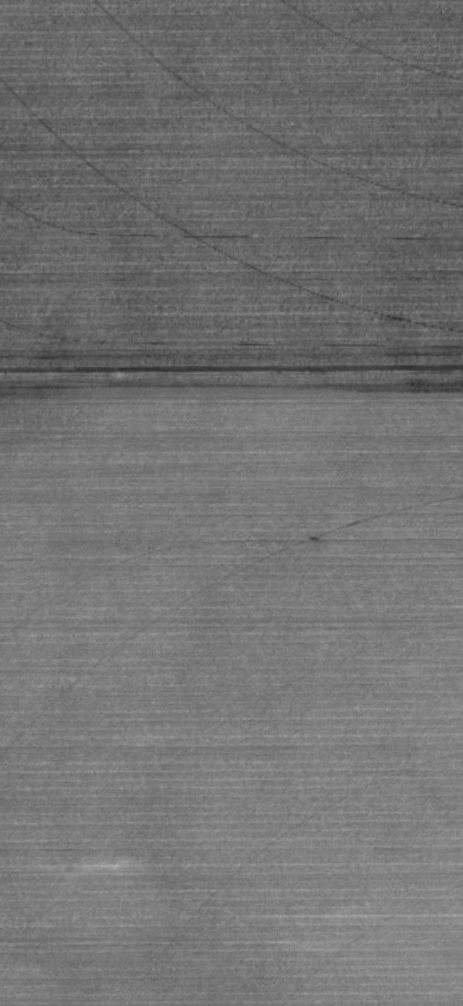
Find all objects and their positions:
crop: (231, 189)
crop: (231, 692)

